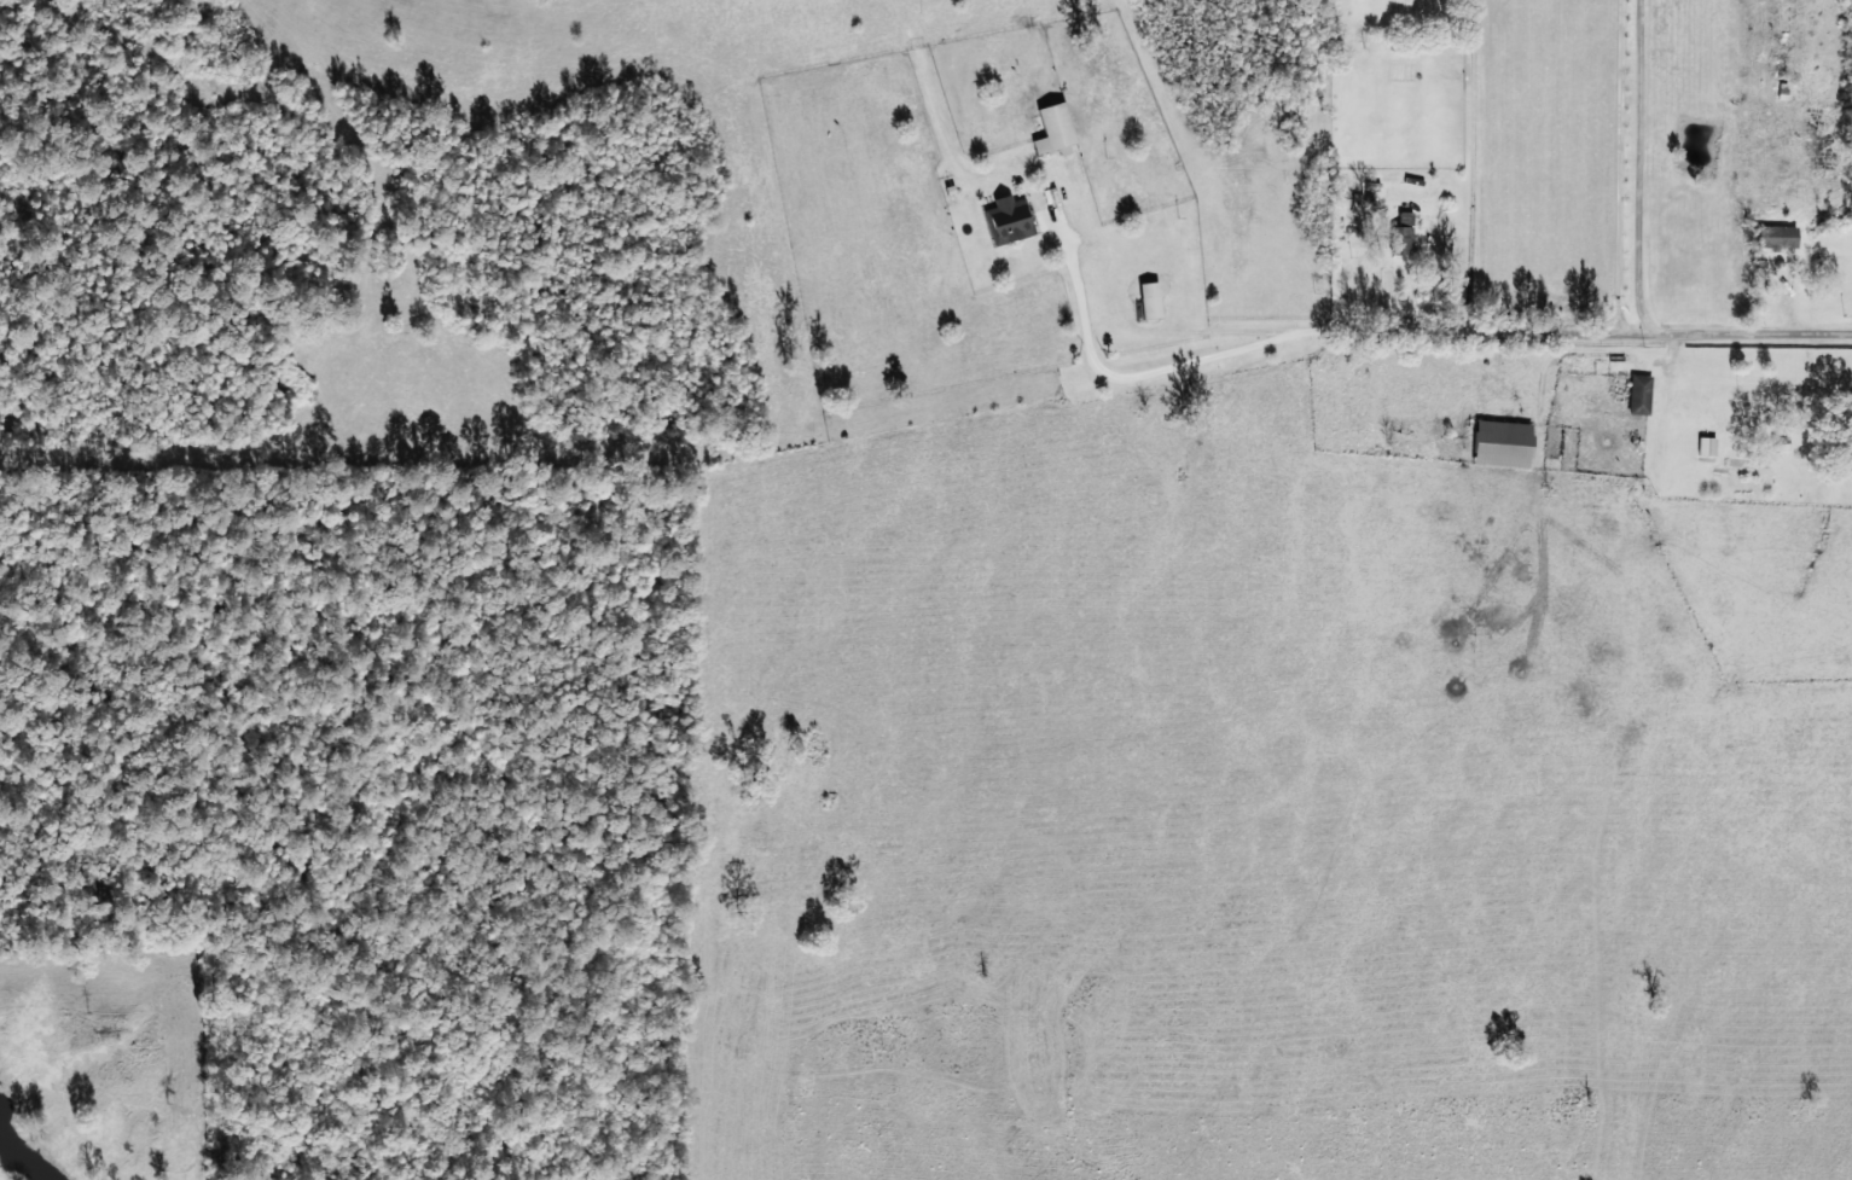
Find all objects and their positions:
building: (1053, 126)
road: (1383, 172)
road: (1598, 174)
building: (1009, 219)
building: (1401, 234)
building: (1782, 236)
building: (1150, 298)
road: (1569, 344)
building: (1639, 394)
building: (1780, 442)
building: (1503, 443)
building: (1706, 444)
building: (1851, 460)

